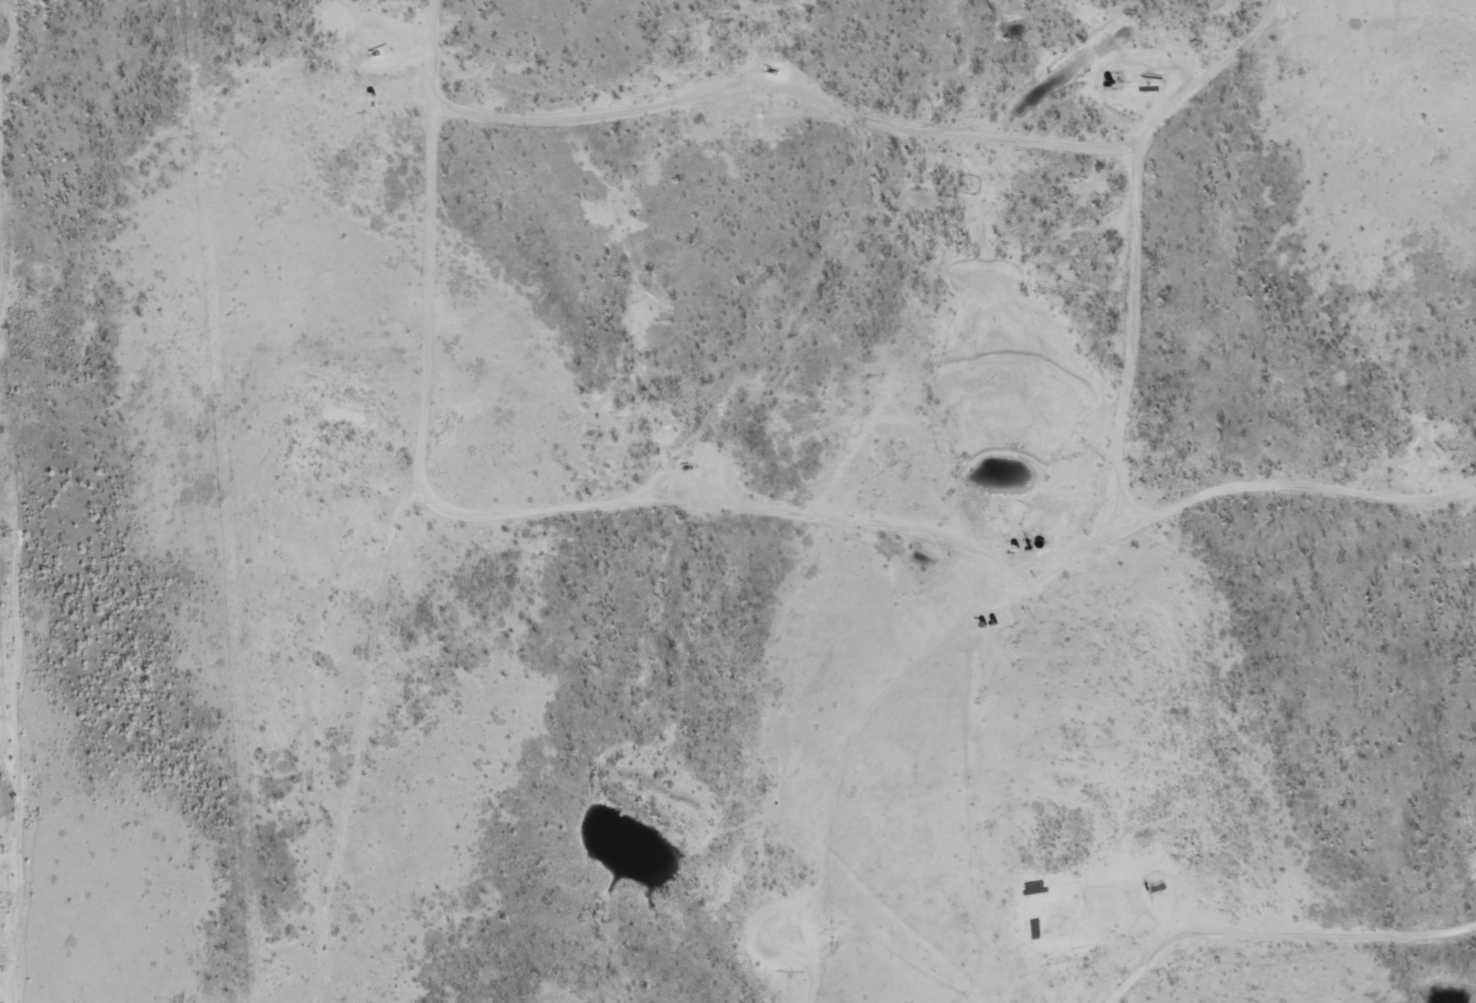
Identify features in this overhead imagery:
road: (1159, 248)
road: (584, 563)
road: (2, 588)
road: (873, 790)
road: (979, 792)
road: (1246, 966)

